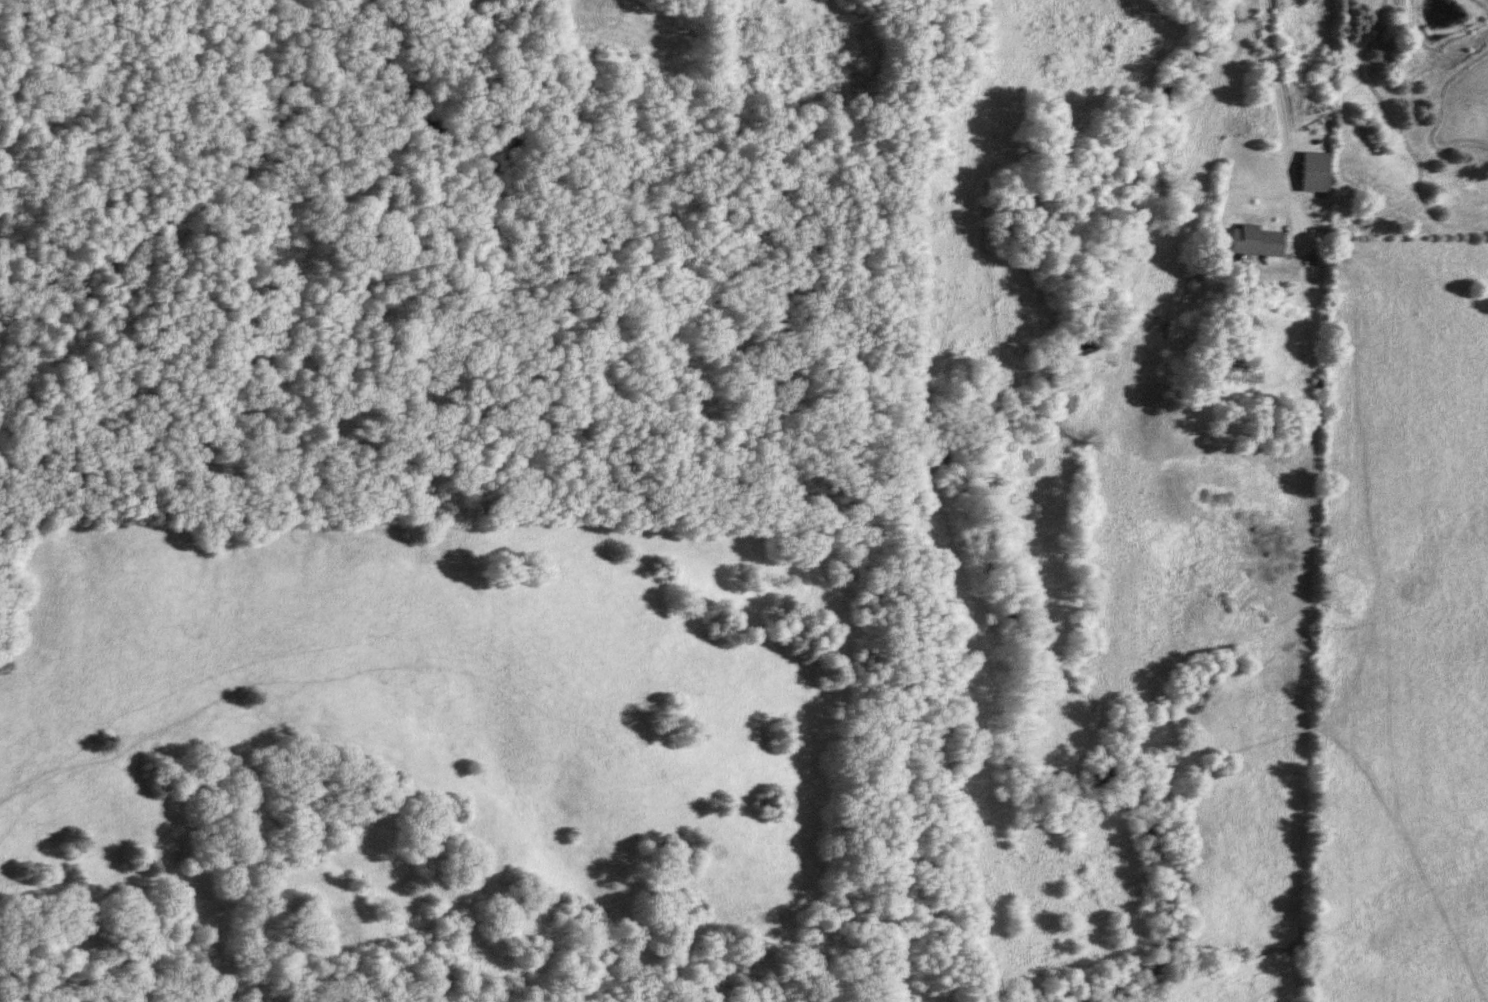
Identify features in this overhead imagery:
road: (1278, 118)
building: (1307, 172)
building: (1247, 240)

